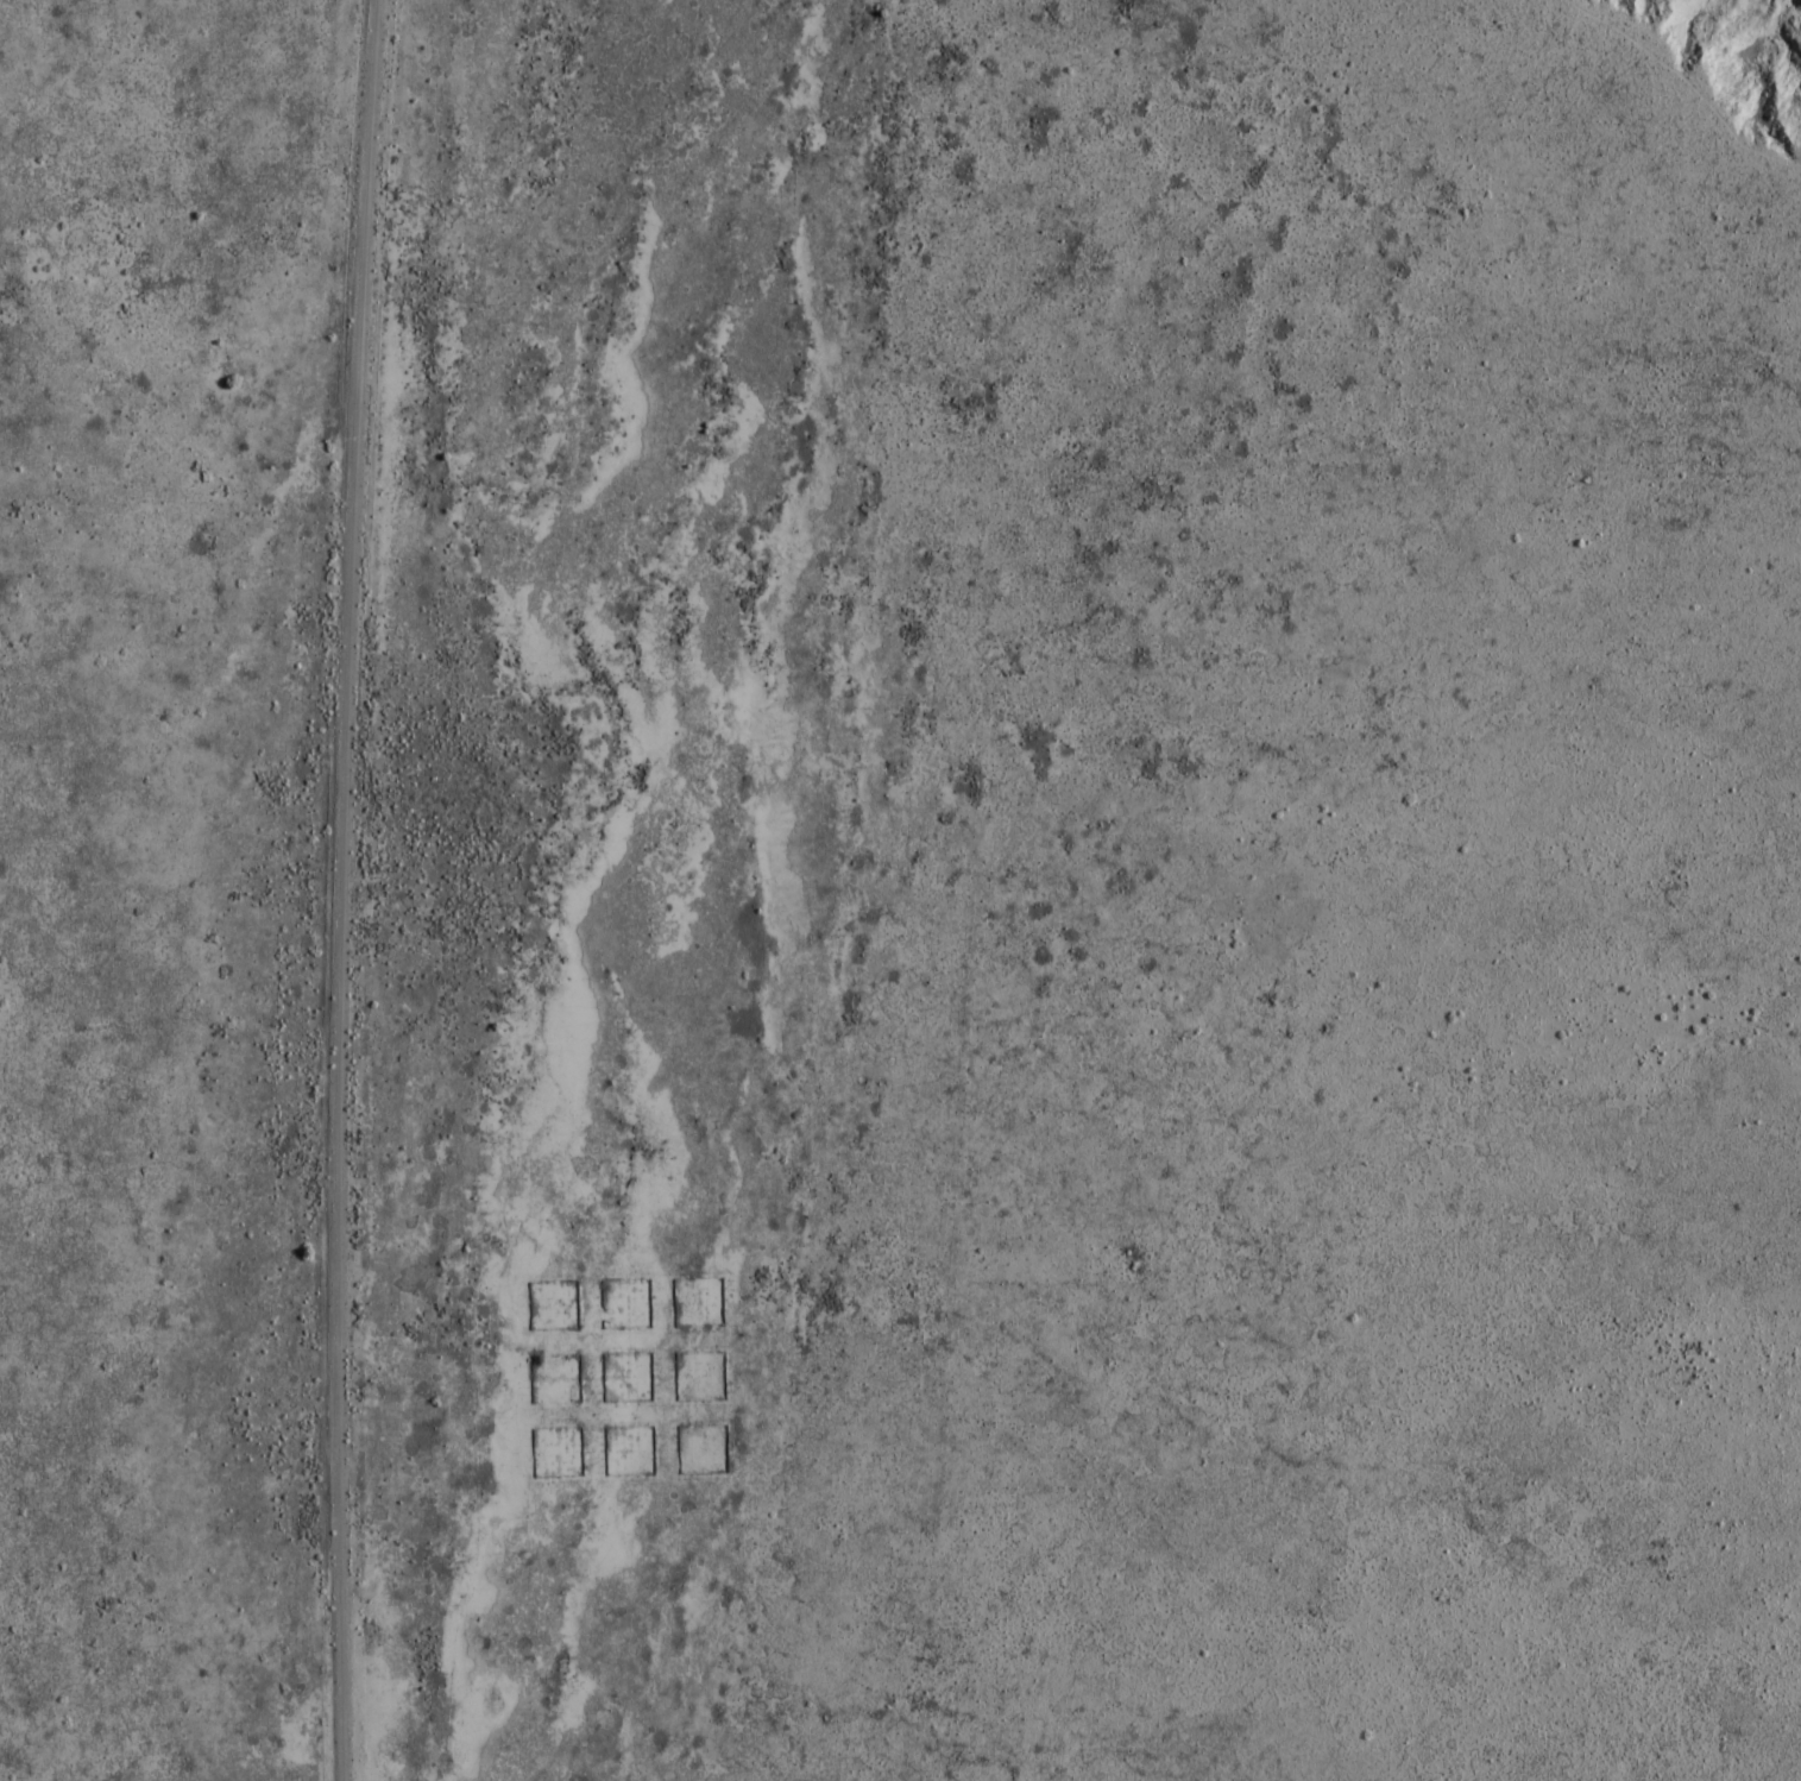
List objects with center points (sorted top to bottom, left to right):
road: (1688, 80)
road: (340, 889)

